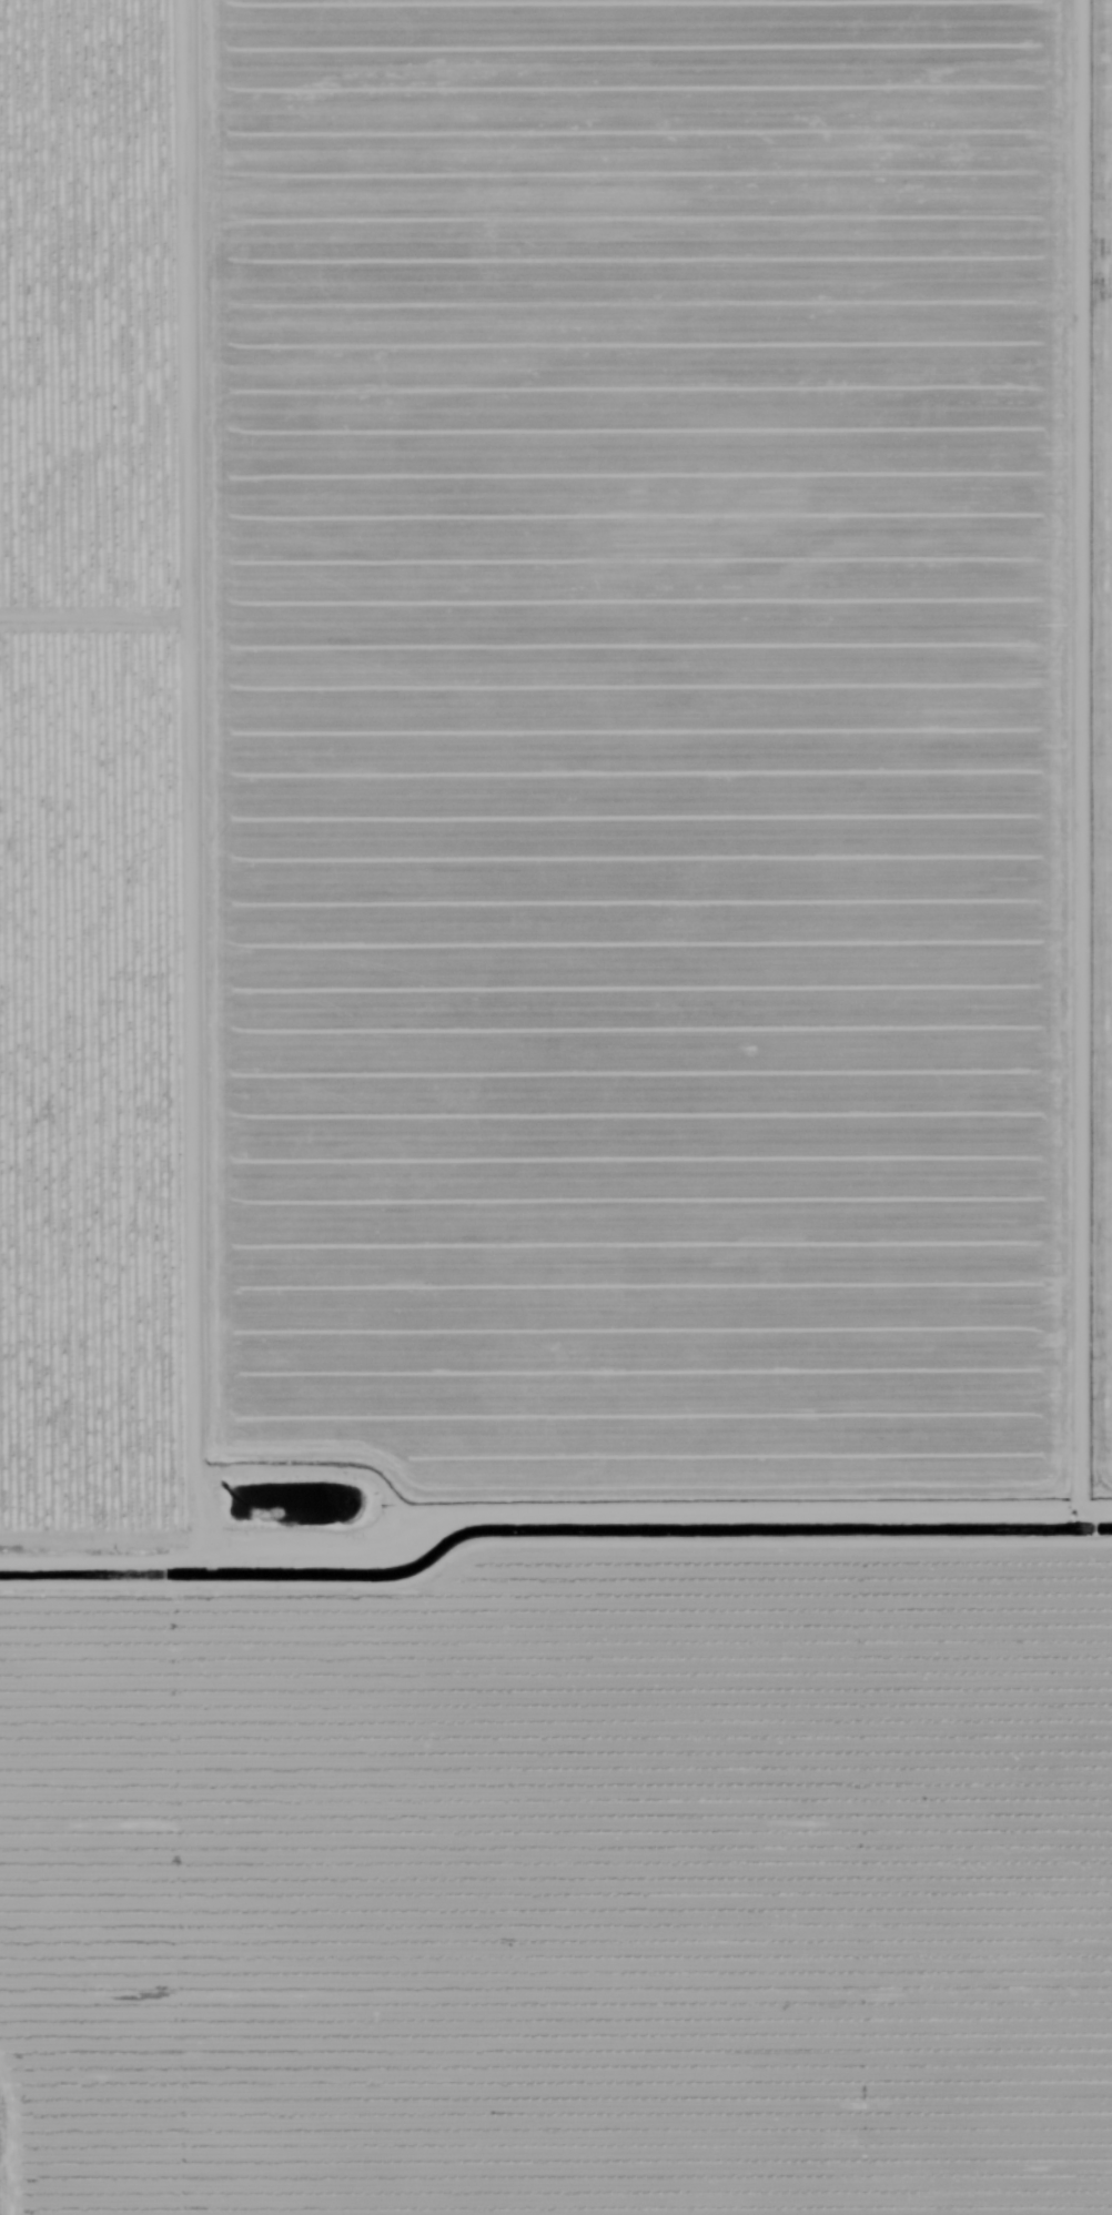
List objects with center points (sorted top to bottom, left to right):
road: (92, 633)

